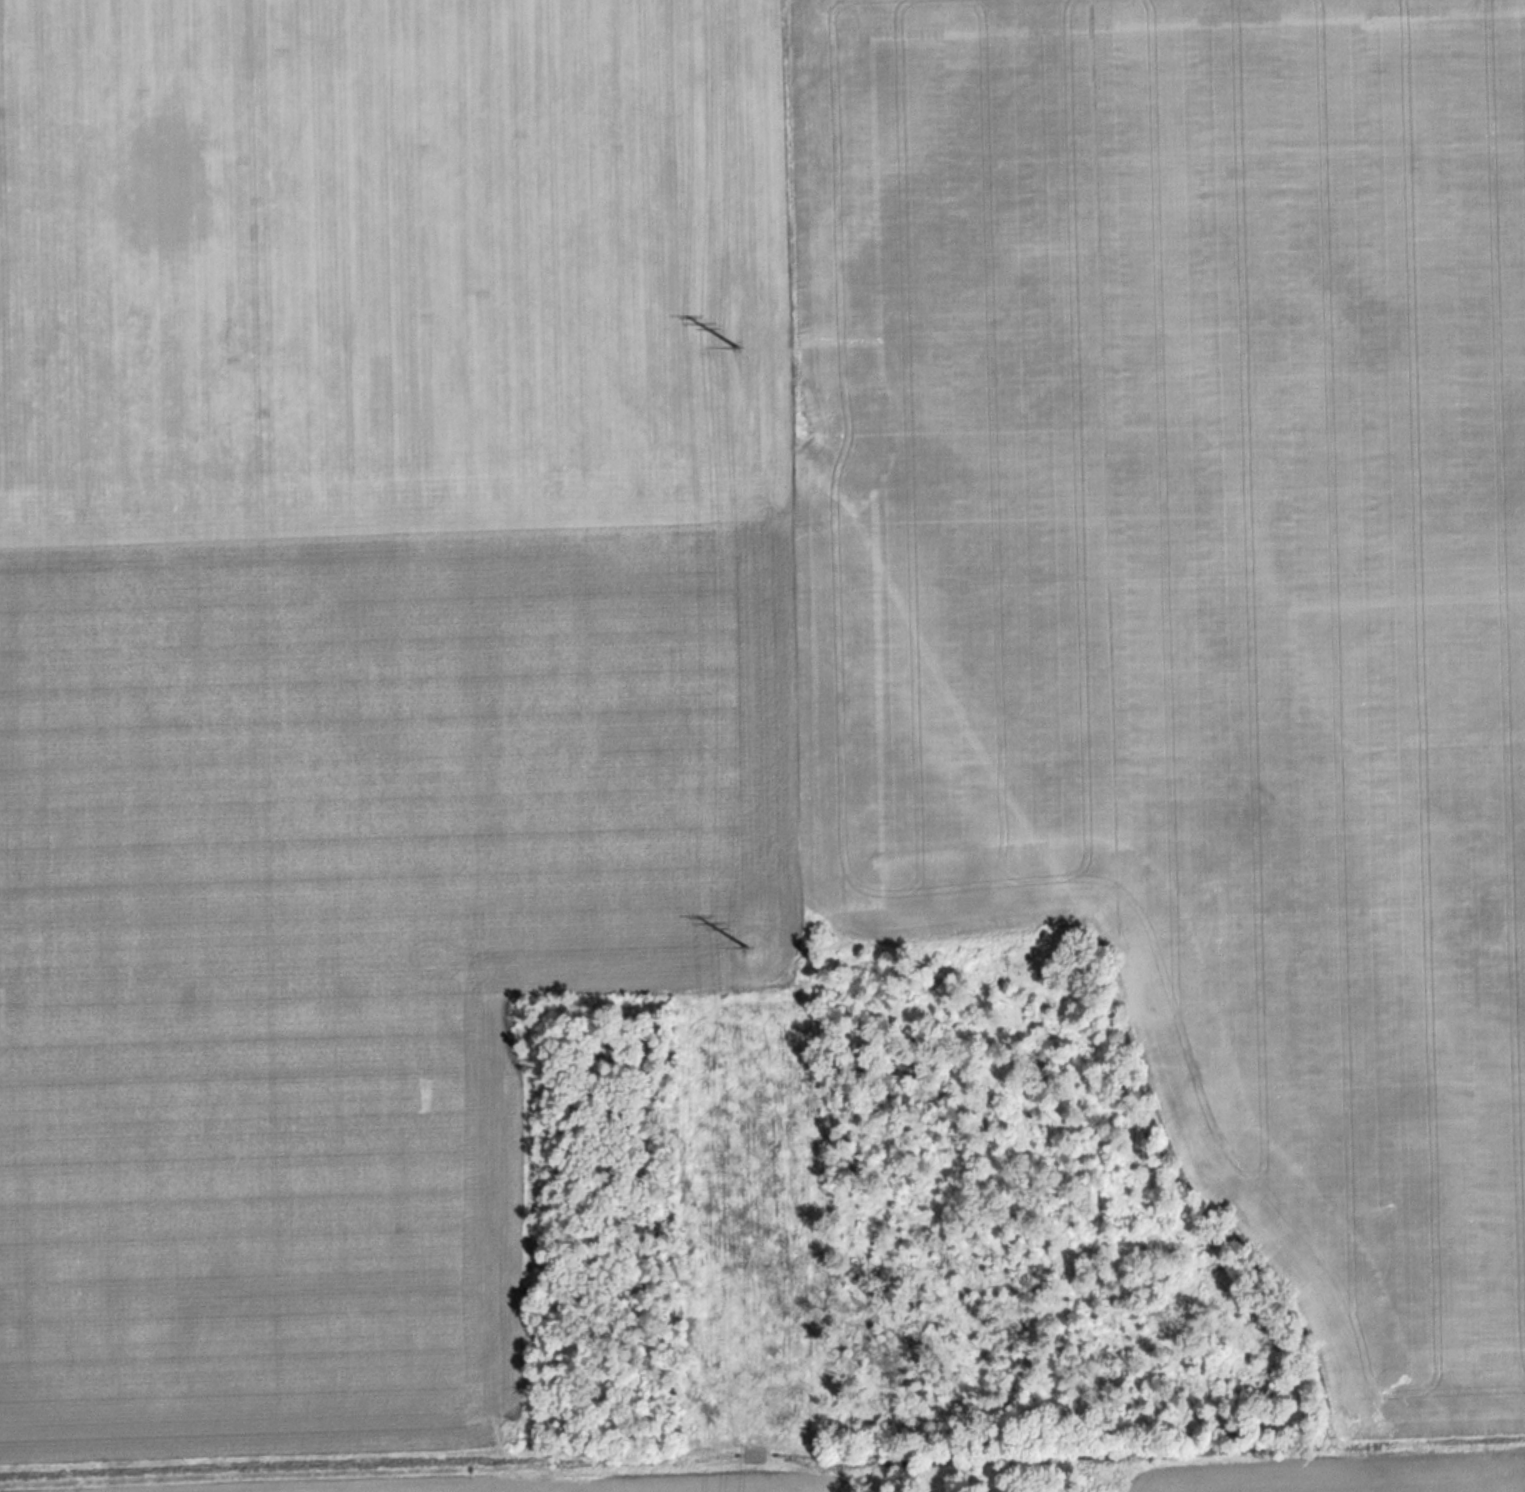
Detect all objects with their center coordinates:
power tower: (736, 343)
power tower: (743, 939)

